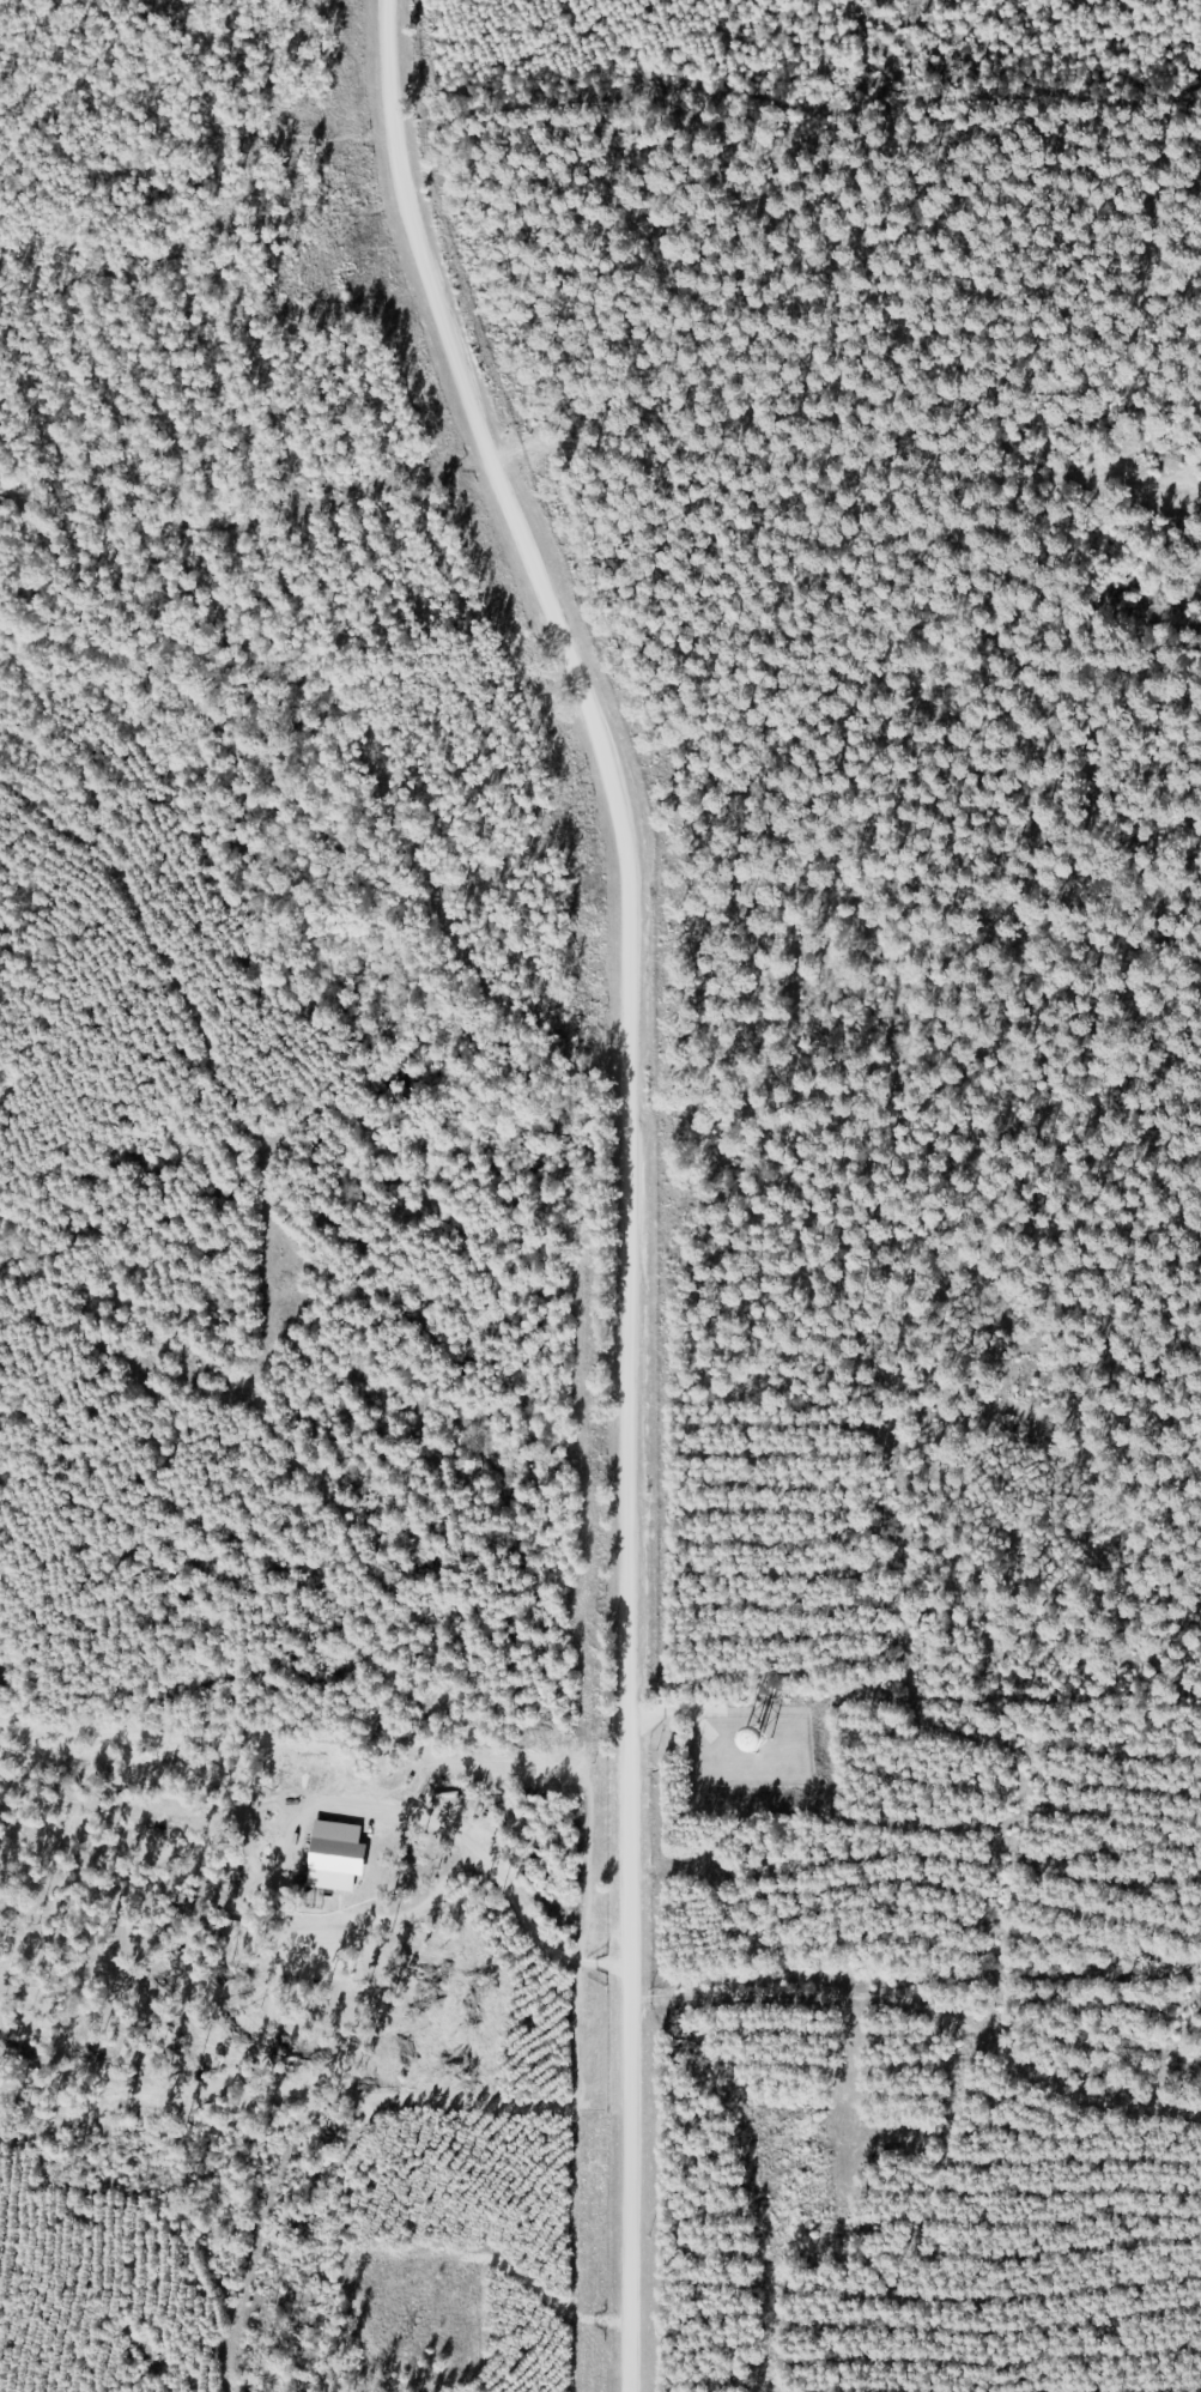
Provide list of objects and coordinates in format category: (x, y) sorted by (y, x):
road: (838, 423)
road: (626, 1169)

